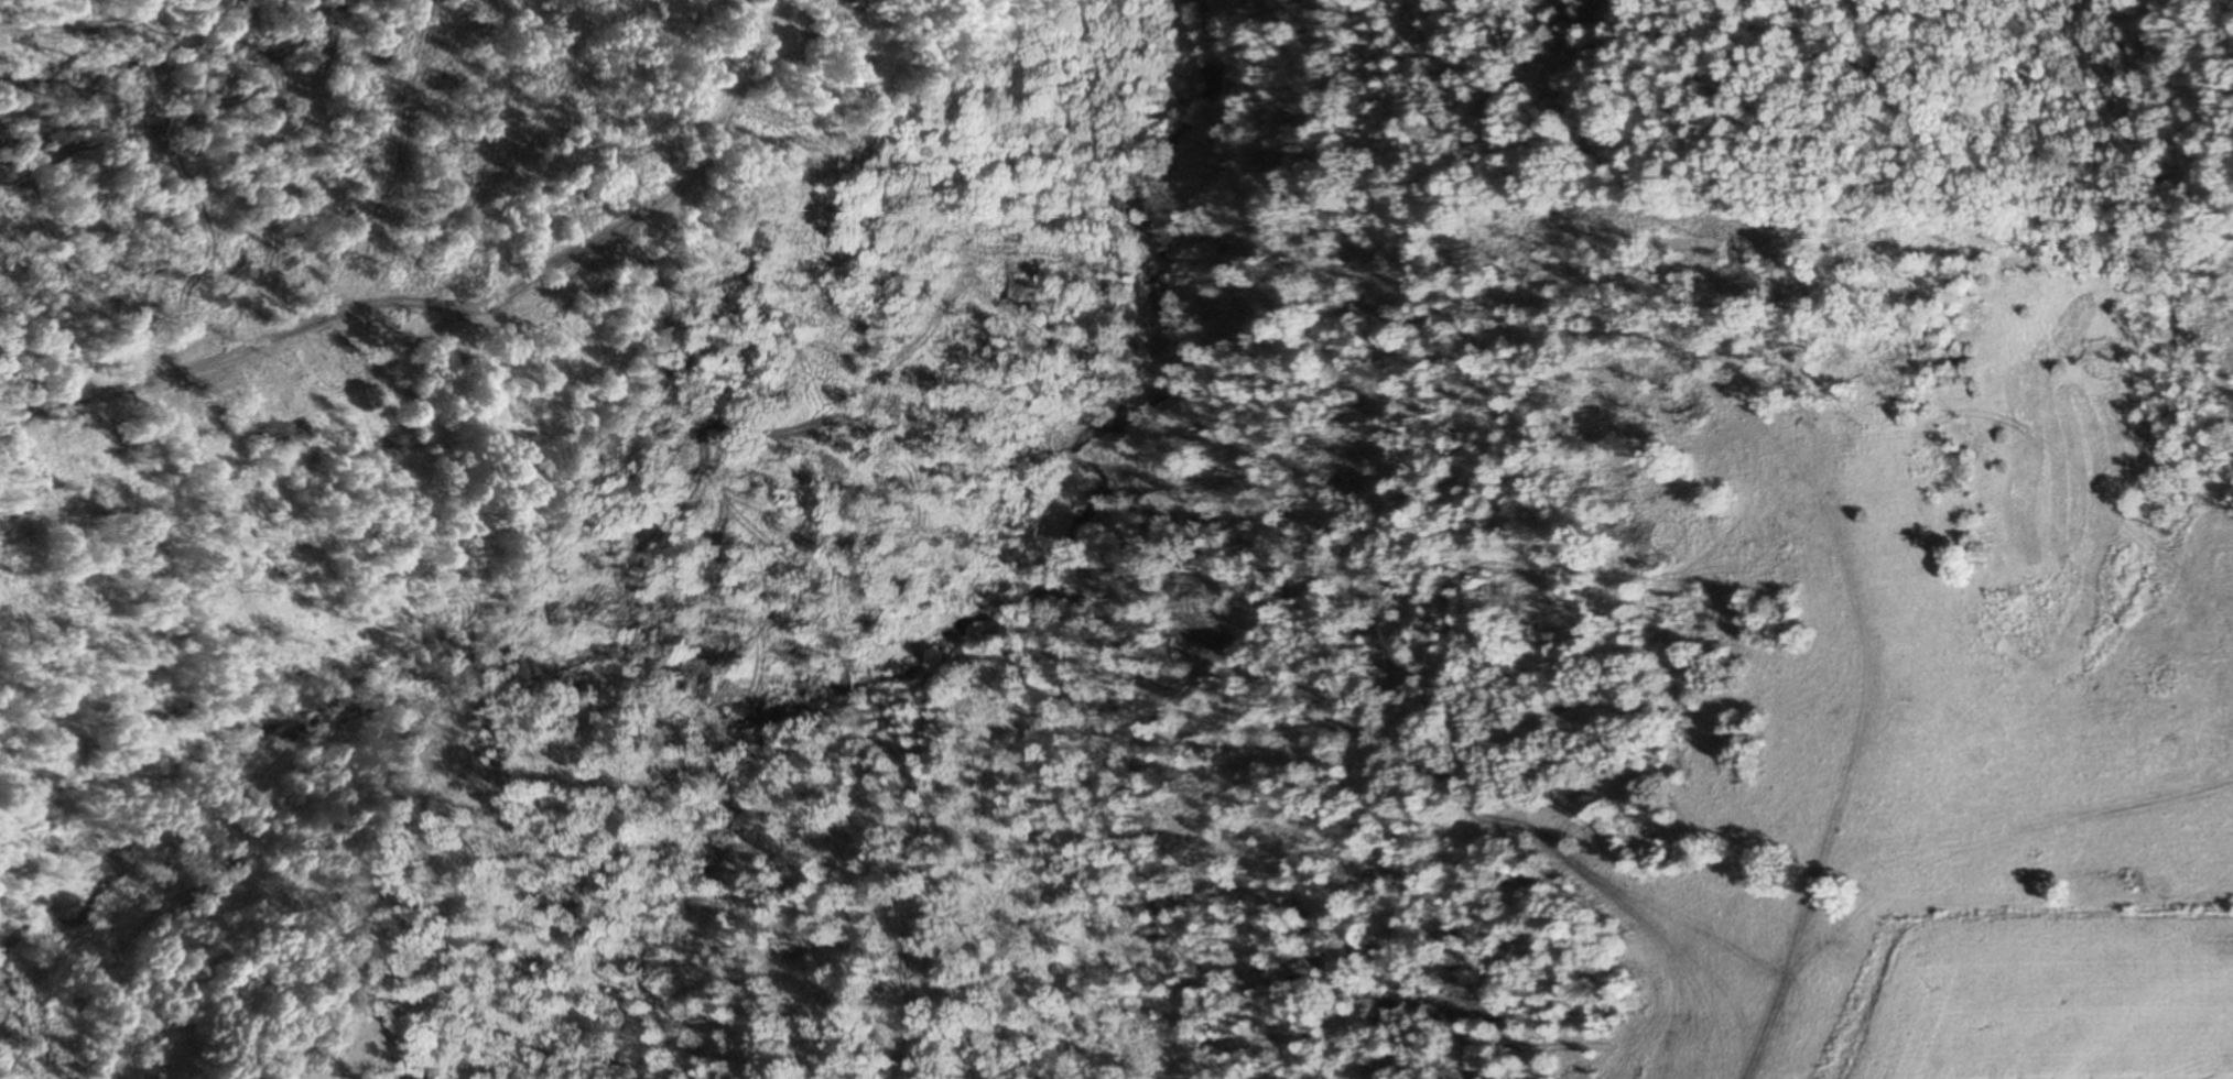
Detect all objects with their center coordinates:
crop: (2057, 995)

